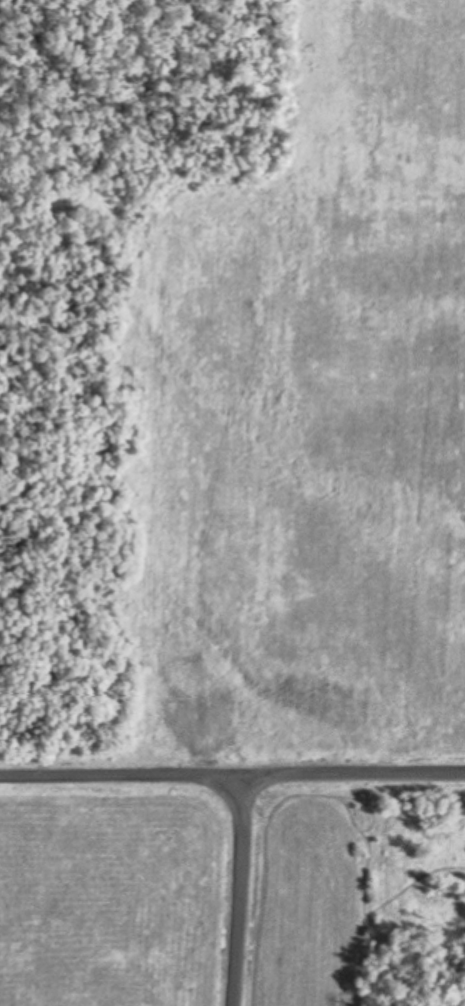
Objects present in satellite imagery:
road: (354, 775)
road: (122, 777)
road: (237, 891)

